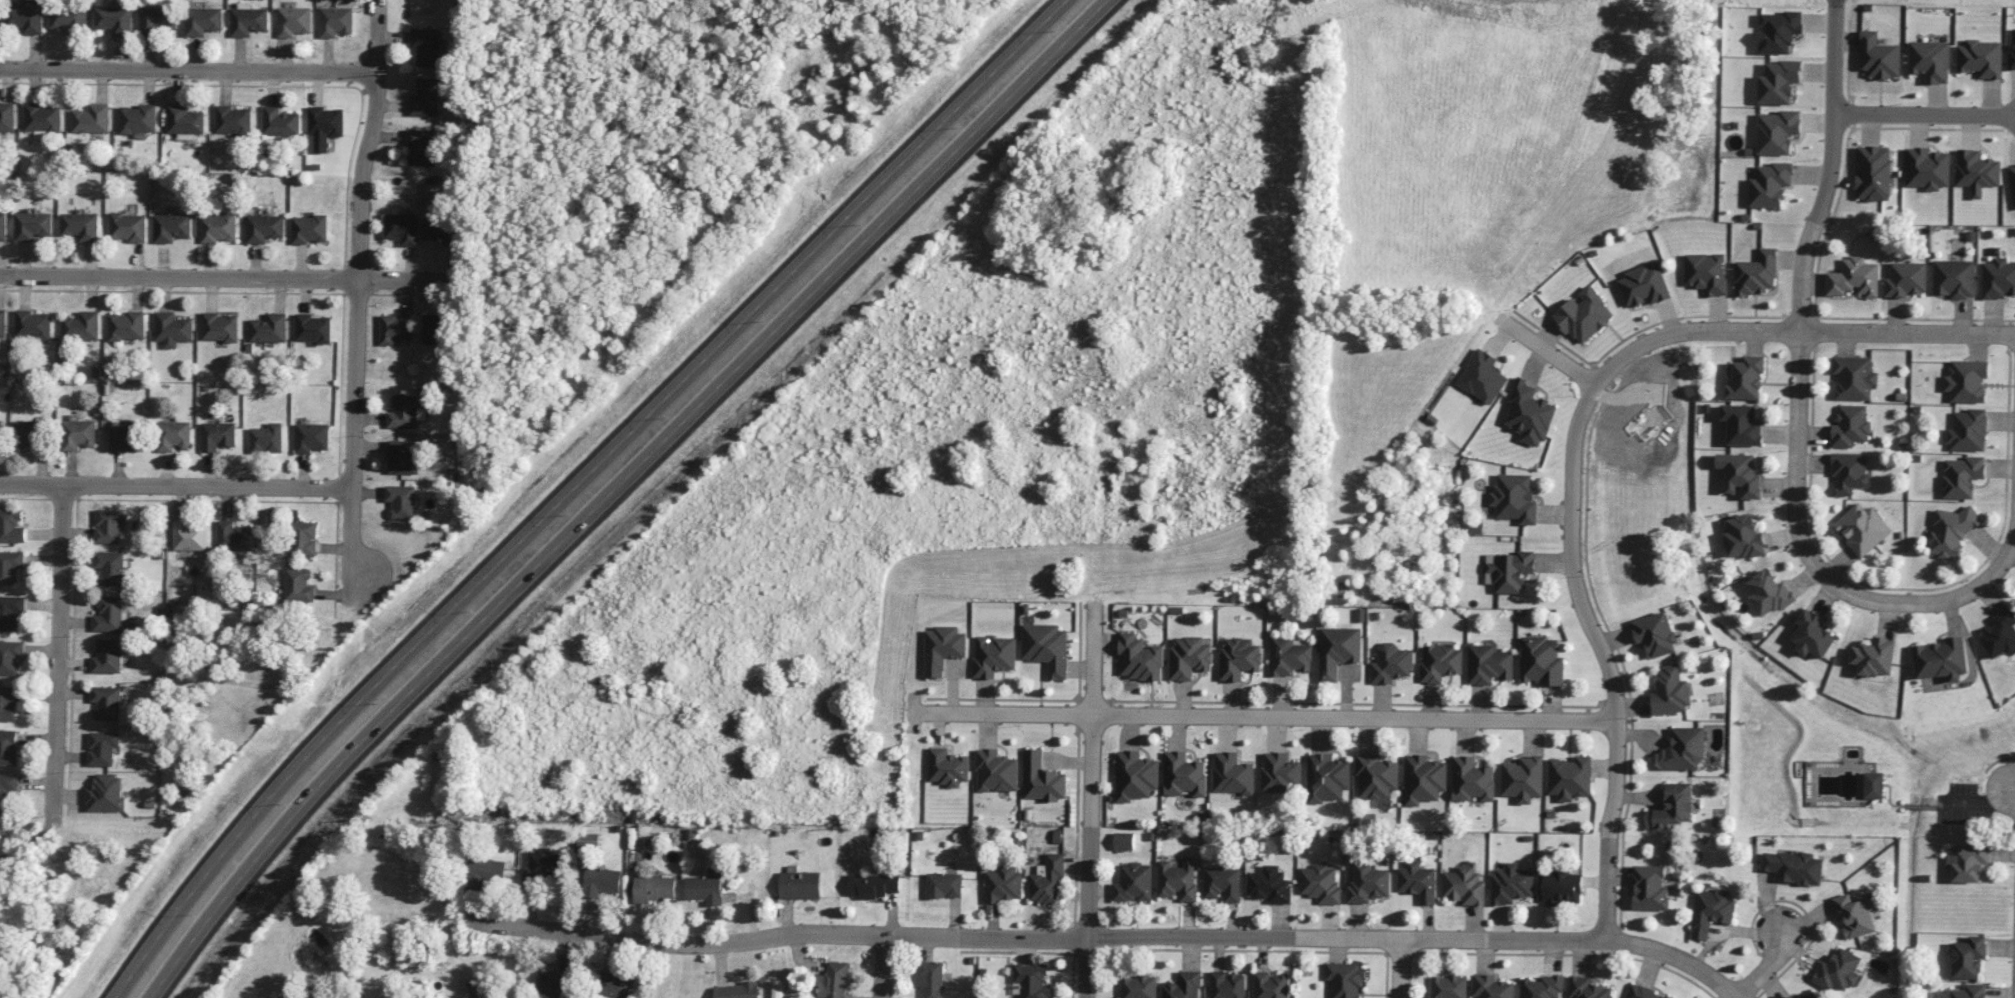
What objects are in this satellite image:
building: (25, 18)
building: (70, 18)
building: (115, 19)
building: (159, 20)
building: (203, 20)
building: (247, 20)
building: (293, 21)
building: (335, 21)
building: (1778, 31)
building: (426, 46)
building: (2012, 55)
building: (1879, 56)
building: (1981, 58)
building: (1930, 60)
road: (188, 72)
building: (1779, 82)
building: (425, 98)
road: (1924, 113)
building: (7, 116)
building: (42, 119)
building: (91, 119)
building: (137, 119)
building: (232, 119)
building: (184, 121)
building: (280, 122)
building: (324, 126)
building: (1777, 132)
building: (421, 147)
building: (1928, 168)
building: (1977, 171)
building: (1874, 173)
building: (2012, 179)
building: (1770, 185)
building: (33, 225)
building: (3, 226)
building: (81, 226)
building: (128, 227)
building: (171, 227)
building: (218, 228)
building: (263, 228)
building: (401, 228)
building: (309, 229)
building: (440, 230)
road: (357, 242)
building: (1706, 273)
building: (1757, 273)
road: (224, 278)
building: (1854, 278)
building: (1954, 278)
building: (1998, 278)
building: (1906, 279)
building: (1644, 285)
road: (1800, 308)
building: (1584, 315)
building: (3, 323)
building: (32, 325)
building: (81, 326)
building: (127, 326)
building: (219, 327)
building: (269, 328)
building: (312, 328)
building: (395, 328)
building: (432, 328)
building: (172, 329)
road: (1796, 330)
road: (1550, 352)
building: (1483, 377)
building: (1854, 377)
building: (1746, 378)
building: (1967, 381)
building: (405, 412)
building: (1529, 414)
building: (1742, 425)
building: (1851, 426)
building: (1, 427)
building: (1968, 431)
building: (29, 432)
building: (79, 434)
building: (173, 435)
building: (218, 435)
building: (311, 437)
building: (126, 438)
building: (266, 439)
building: (401, 458)
building: (1850, 472)
building: (1740, 474)
building: (1962, 476)
road: (574, 487)
road: (175, 488)
road: (620, 488)
building: (1514, 498)
building: (401, 501)
building: (109, 525)
building: (11, 526)
building: (1863, 528)
building: (1952, 530)
building: (189, 535)
building: (234, 536)
road: (351, 536)
building: (1743, 537)
building: (303, 538)
building: (10, 566)
building: (110, 568)
building: (1508, 570)
building: (299, 585)
building: (1769, 593)
road: (1951, 600)
building: (11, 612)
building: (108, 614)
building: (1656, 634)
building: (2000, 634)
building: (1812, 635)
building: (1046, 647)
building: (942, 648)
building: (1338, 650)
road: (59, 652)
building: (107, 656)
building: (993, 656)
building: (1289, 656)
road: (1606, 656)
building: (10, 657)
building: (1188, 657)
building: (1875, 657)
building: (1139, 658)
building: (1239, 658)
building: (1941, 659)
building: (1542, 661)
building: (1441, 662)
building: (1391, 663)
building: (1489, 664)
building: (1671, 691)
building: (9, 702)
building: (106, 702)
road: (1263, 715)
building: (8, 747)
building: (102, 747)
building: (1683, 749)
building: (947, 767)
building: (996, 771)
building: (1280, 772)
building: (1232, 773)
building: (1184, 774)
building: (1135, 776)
building: (1376, 776)
building: (1327, 778)
building: (1523, 778)
building: (1570, 778)
building: (1042, 779)
building: (1424, 779)
building: (1472, 779)
road: (2004, 784)
building: (1874, 785)
building: (9, 791)
building: (106, 793)
road: (1089, 796)
building: (1673, 807)
road: (31, 840)
building: (588, 840)
building: (1124, 840)
building: (1969, 862)
building: (543, 866)
building: (1793, 867)
building: (485, 872)
building: (1178, 879)
building: (1047, 880)
building: (601, 881)
building: (1418, 881)
building: (1134, 882)
building: (1223, 883)
building: (1368, 883)
building: (1004, 884)
building: (1320, 884)
building: (1511, 884)
building: (800, 885)
building: (873, 885)
building: (944, 885)
building: (1270, 885)
building: (1465, 885)
building: (1560, 887)
building: (653, 888)
building: (1650, 888)
building: (704, 889)
building: (1711, 911)
building: (1856, 914)
road: (1109, 936)
road: (1774, 957)
building: (1969, 957)
road: (883, 966)
road: (1400, 968)
building: (1839, 970)
building: (931, 979)
building: (1346, 979)
building: (832, 980)
building: (1032, 980)
building: (550, 985)
building: (615, 985)
building: (1226, 985)
building: (1270, 985)
building: (1138, 986)
building: (1183, 986)
building: (1448, 986)
building: (1492, 987)
building: (1541, 987)
building: (1586, 988)
building: (737, 990)
building: (1643, 992)
building: (1966, 992)
building: (1811, 995)
building: (1792, 997)

